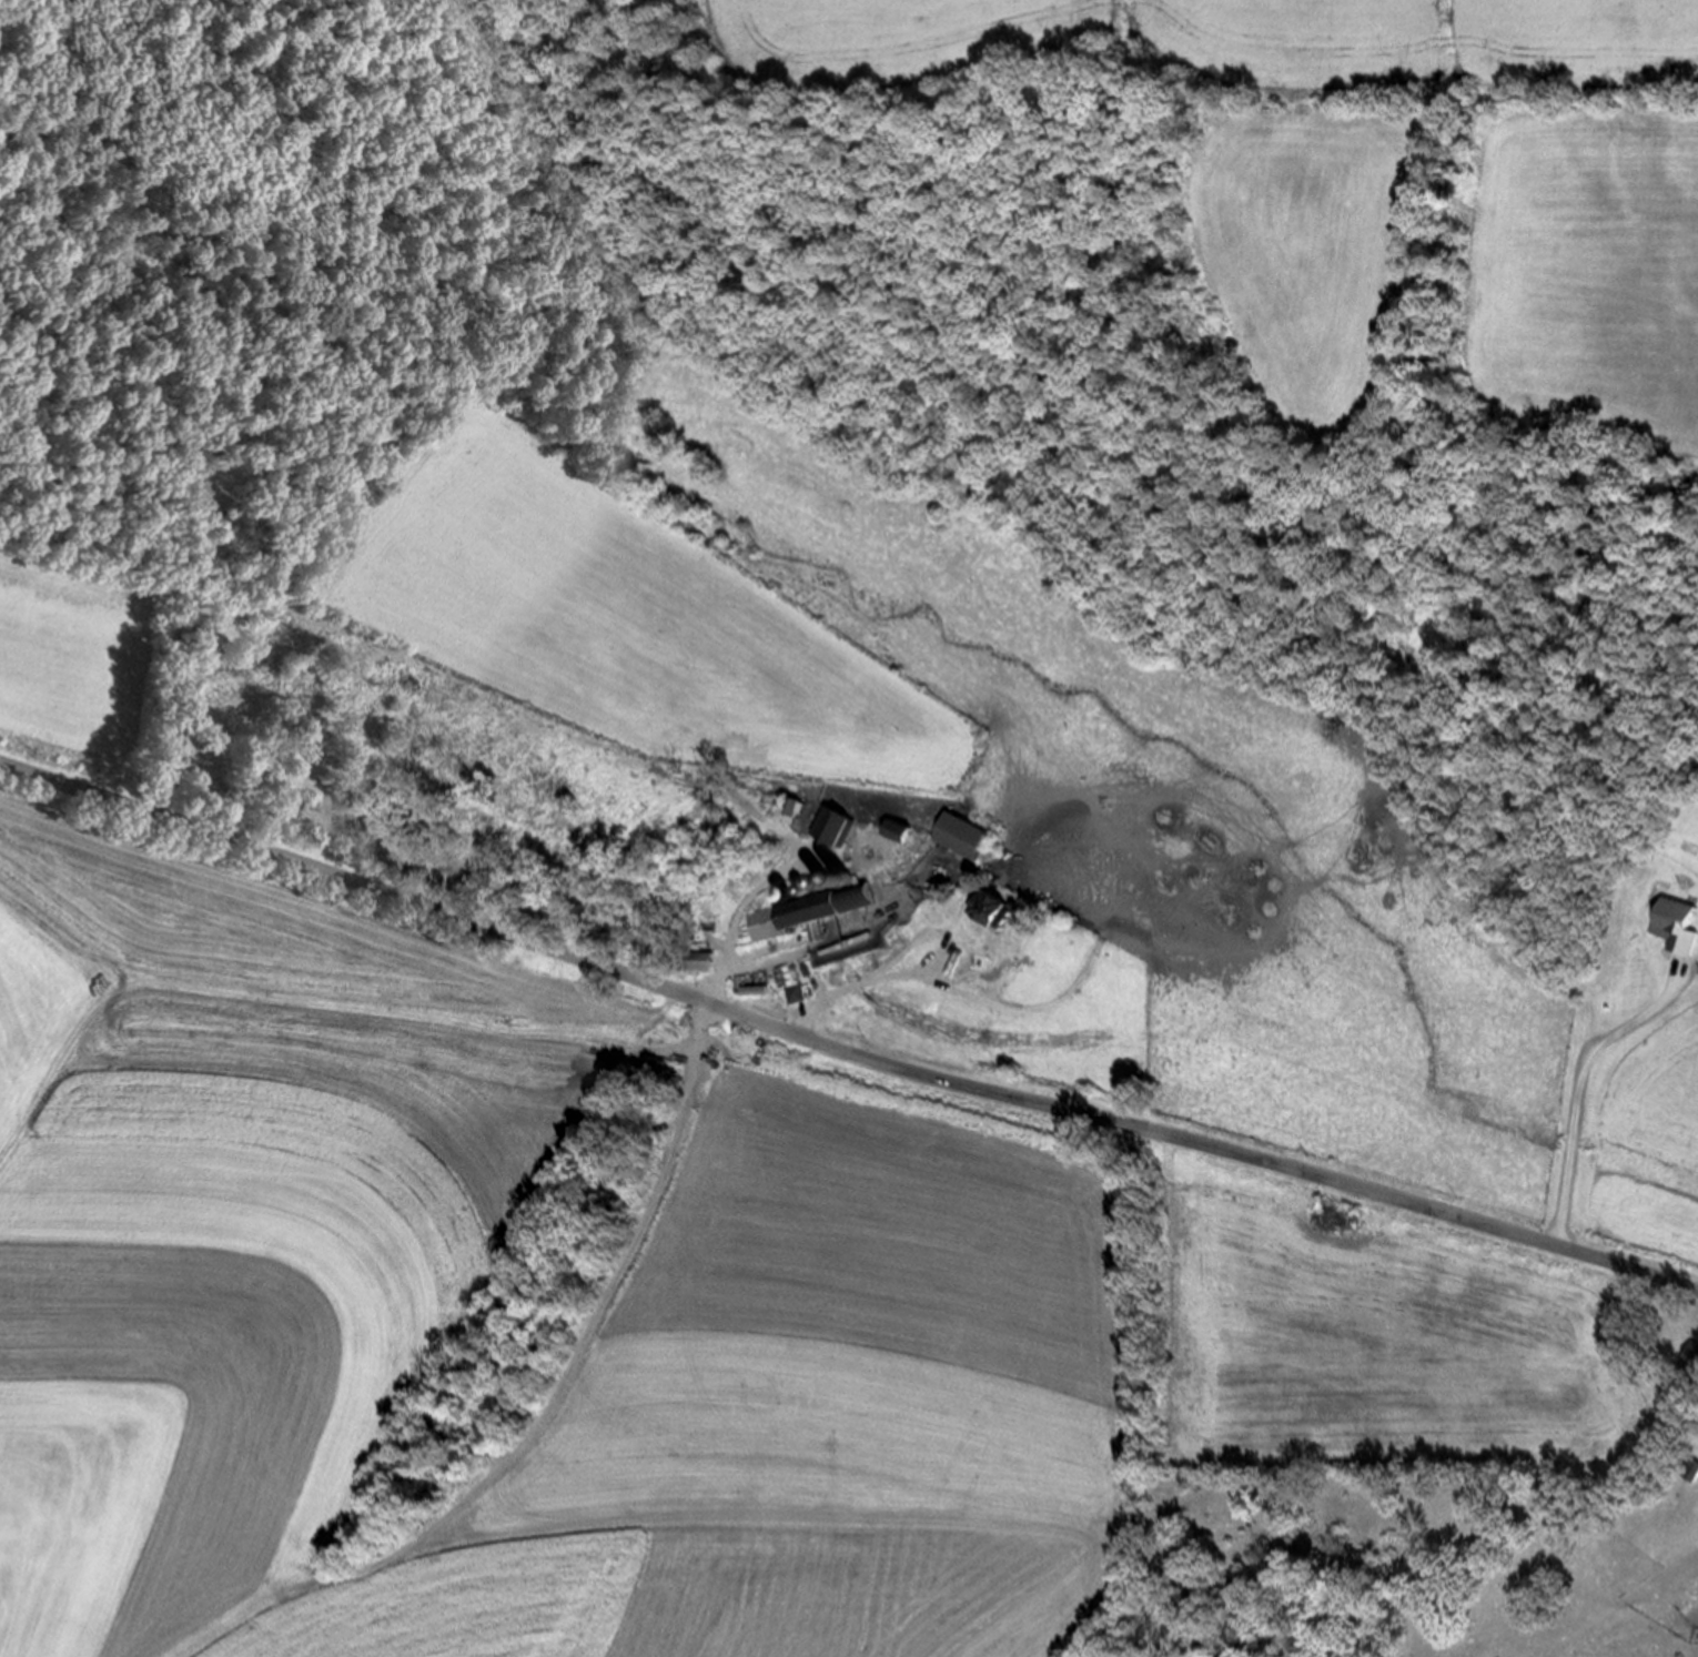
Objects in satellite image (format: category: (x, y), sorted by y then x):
building: (796, 805)
building: (839, 824)
building: (904, 829)
building: (966, 836)
road: (792, 867)
building: (818, 908)
building: (997, 908)
building: (1677, 922)
road: (765, 948)
road: (780, 957)
building: (700, 959)
road: (927, 970)
building: (796, 992)
road: (841, 1049)
road: (1578, 1078)
building: (1690, 1356)
road: (573, 1358)
building: (1680, 1546)

